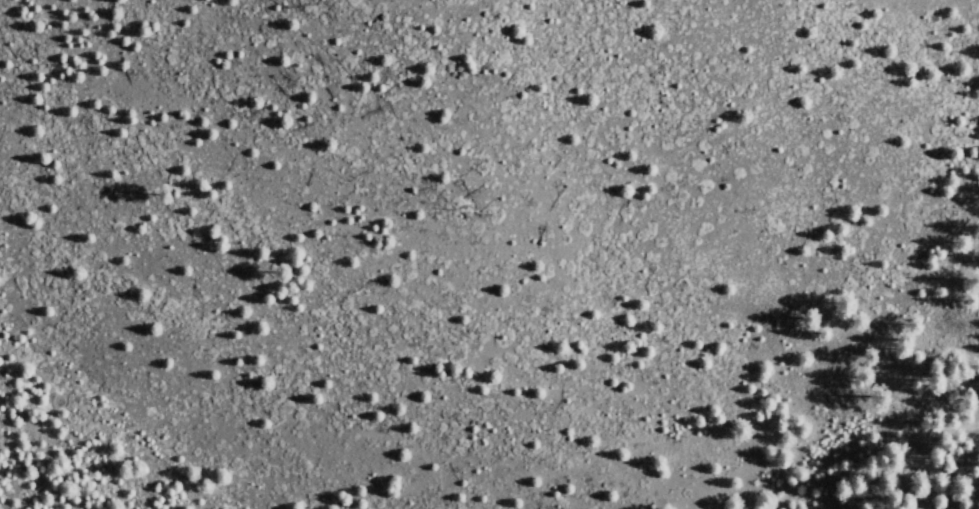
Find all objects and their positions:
road: (868, 449)

